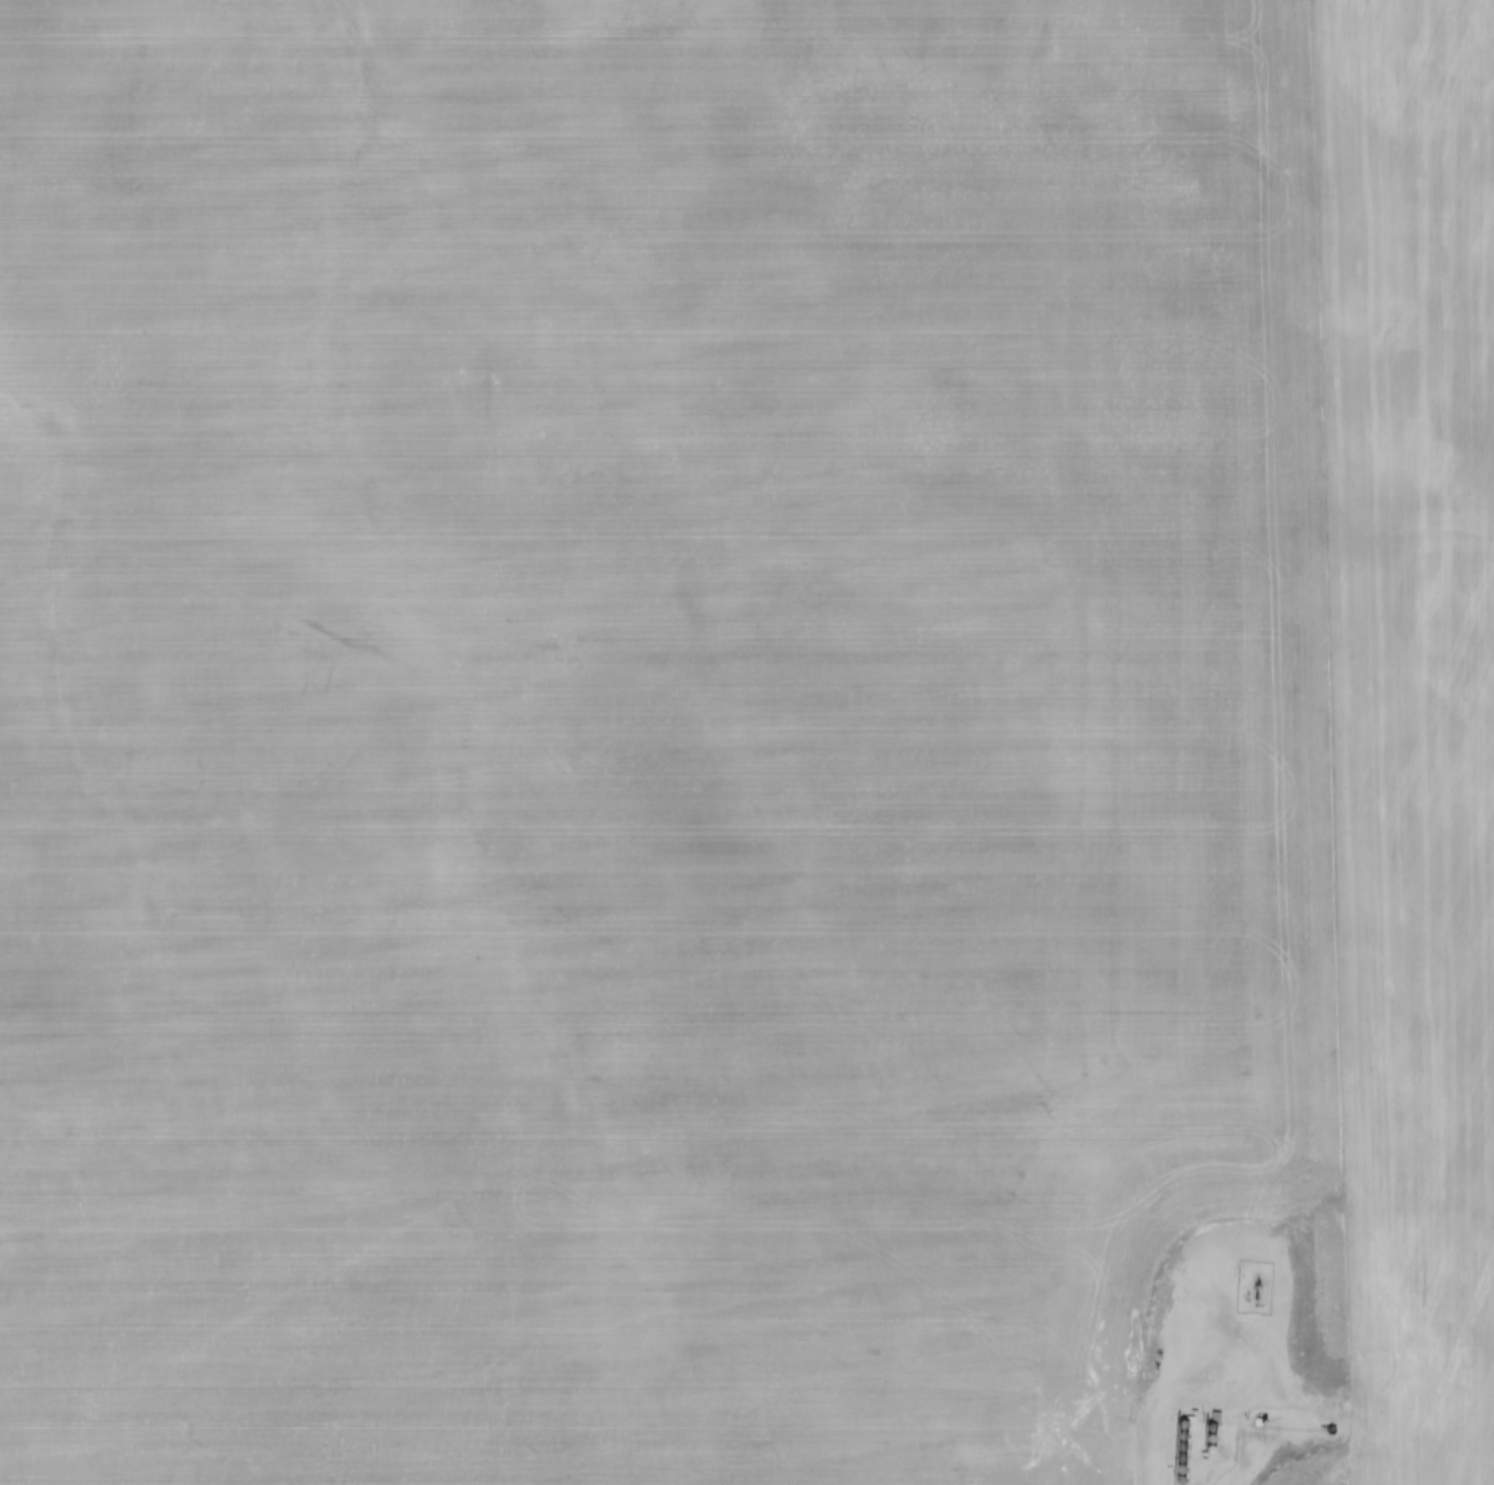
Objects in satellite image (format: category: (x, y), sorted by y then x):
road: (1175, 1404)
building: (1182, 1461)

